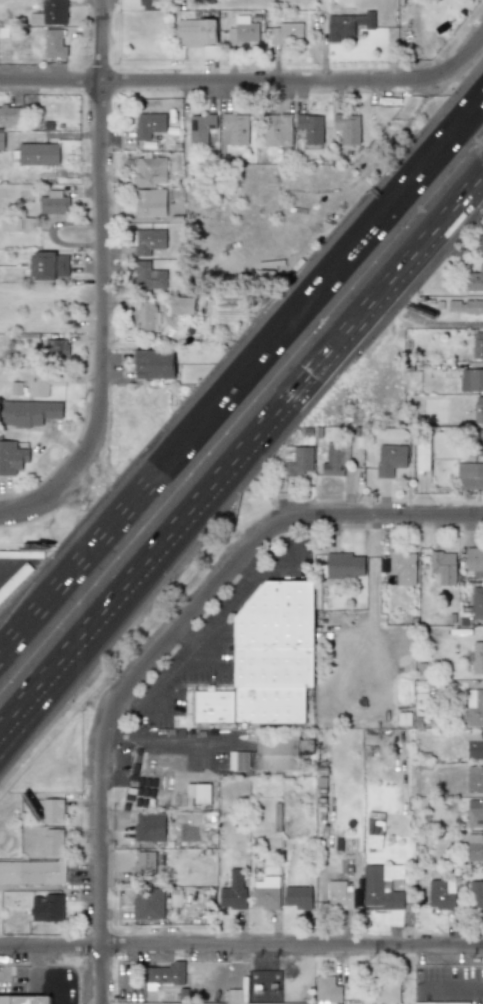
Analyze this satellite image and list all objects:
building: (150, 5)
building: (51, 13)
building: (348, 24)
building: (243, 33)
building: (288, 33)
building: (195, 35)
building: (56, 42)
road: (253, 78)
building: (9, 115)
building: (149, 124)
building: (200, 128)
building: (309, 128)
building: (347, 128)
building: (236, 129)
building: (278, 130)
building: (2, 140)
building: (38, 154)
building: (149, 170)
building: (54, 202)
building: (149, 202)
building: (12, 224)
building: (148, 241)
building: (479, 243)
road: (96, 247)
building: (50, 266)
building: (149, 276)
building: (473, 280)
building: (182, 305)
building: (465, 306)
building: (144, 317)
building: (478, 345)
building: (58, 349)
road: (259, 362)
building: (154, 364)
building: (471, 379)
building: (42, 380)
building: (478, 409)
building: (29, 413)
road: (272, 421)
building: (478, 442)
building: (422, 456)
building: (12, 457)
building: (334, 459)
building: (389, 459)
building: (297, 461)
building: (469, 475)
road: (32, 500)
road: (337, 515)
building: (474, 561)
road: (35, 563)
building: (343, 564)
building: (402, 566)
building: (442, 566)
road: (11, 571)
road: (250, 573)
building: (477, 602)
road: (219, 630)
road: (15, 633)
road: (15, 636)
road: (192, 641)
building: (477, 658)
building: (269, 660)
road: (220, 666)
road: (30, 698)
building: (473, 709)
road: (31, 712)
road: (147, 712)
road: (162, 737)
building: (474, 745)
building: (277, 751)
building: (238, 760)
road: (102, 773)
building: (474, 778)
building: (198, 793)
building: (52, 810)
building: (474, 813)
building: (148, 827)
building: (374, 830)
building: (52, 842)
building: (474, 847)
building: (143, 864)
building: (32, 872)
building: (381, 886)
building: (232, 891)
building: (265, 892)
building: (441, 894)
building: (338, 895)
building: (476, 895)
building: (297, 896)
building: (356, 897)
building: (147, 903)
building: (47, 907)
road: (241, 946)
building: (165, 973)
road: (37, 985)
building: (326, 989)
building: (385, 991)
building: (24, 999)
building: (193, 1003)
building: (441, 1003)

